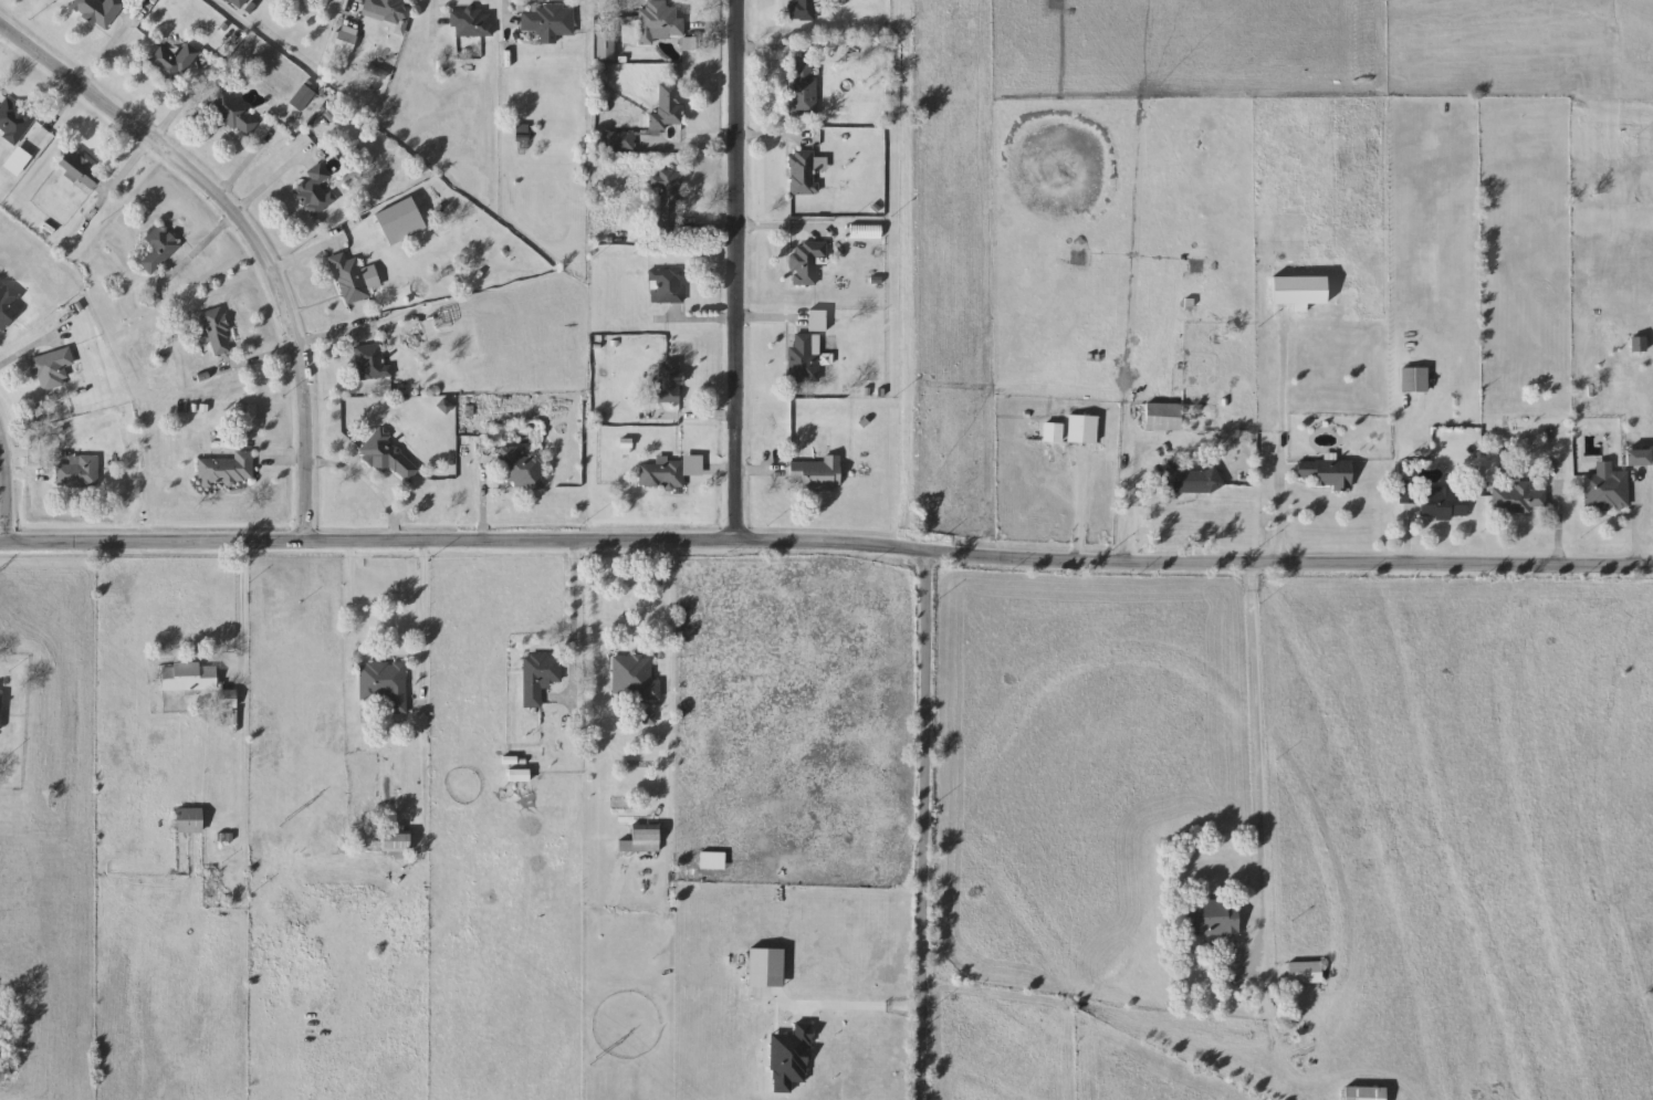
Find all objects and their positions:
road: (349, 6)
building: (388, 10)
building: (802, 10)
building: (97, 11)
road: (435, 18)
road: (504, 19)
building: (548, 22)
building: (471, 23)
building: (659, 23)
road: (713, 27)
building: (605, 45)
road: (773, 49)
building: (172, 63)
road: (80, 88)
building: (803, 90)
building: (668, 107)
building: (232, 114)
building: (13, 121)
road: (159, 132)
road: (778, 137)
building: (618, 140)
road: (650, 146)
road: (699, 147)
road: (243, 166)
building: (77, 171)
building: (803, 172)
building: (315, 191)
building: (669, 202)
road: (231, 221)
road: (743, 232)
road: (245, 233)
building: (158, 250)
road: (304, 258)
building: (807, 261)
road: (735, 272)
building: (348, 280)
building: (667, 286)
building: (9, 305)
road: (732, 319)
building: (215, 329)
road: (294, 348)
road: (28, 350)
building: (805, 357)
building: (373, 362)
building: (51, 369)
building: (1414, 380)
building: (667, 383)
road: (692, 417)
building: (1163, 417)
building: (1081, 429)
road: (31, 457)
building: (388, 457)
building: (1636, 458)
building: (227, 470)
road: (344, 470)
building: (521, 470)
building: (77, 472)
road: (736, 472)
building: (1326, 472)
building: (816, 473)
building: (661, 474)
building: (1195, 480)
road: (1393, 485)
road: (4, 488)
building: (1605, 491)
building: (1406, 493)
building: (1517, 499)
road: (483, 501)
building: (1443, 503)
road: (1077, 507)
road: (1277, 512)
road: (1133, 513)
road: (394, 536)
road: (1556, 536)
road: (826, 546)
road: (241, 615)
road: (356, 618)
road: (423, 626)
road: (573, 629)
building: (538, 677)
building: (188, 678)
building: (634, 678)
road: (669, 681)
building: (384, 684)
building: (227, 700)
building: (0, 703)
road: (1258, 797)
building: (187, 821)
power tower: (285, 826)
road: (921, 826)
building: (645, 838)
building: (394, 841)
road: (1192, 876)
building: (1212, 918)
building: (1305, 972)
road: (854, 1004)
power tower: (597, 1059)
building: (1363, 1093)

